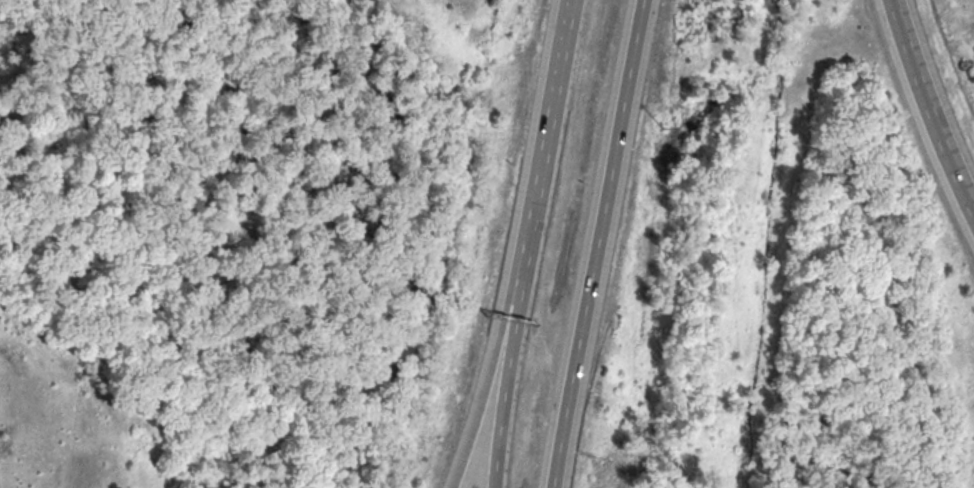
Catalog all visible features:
road: (928, 107)
road: (543, 132)
road: (594, 243)
road: (503, 376)
road: (485, 377)

